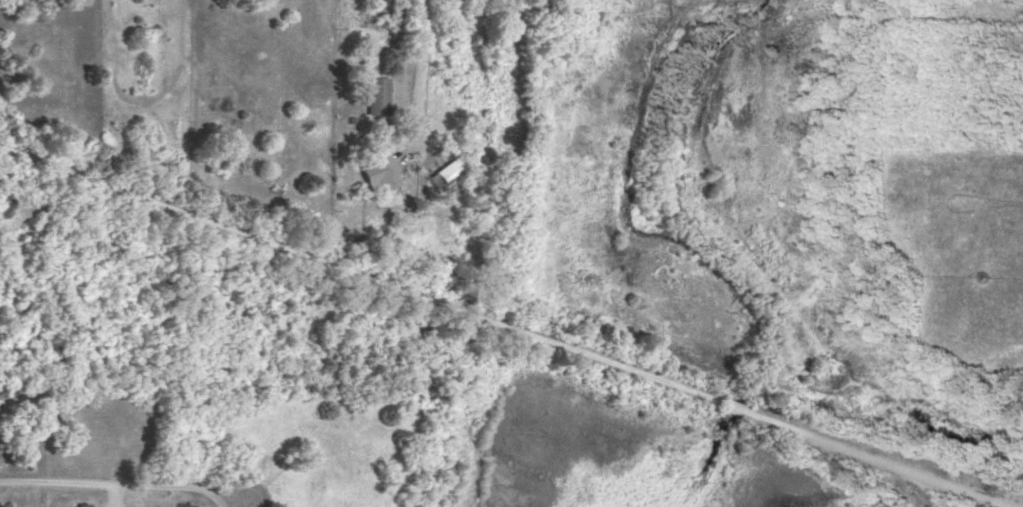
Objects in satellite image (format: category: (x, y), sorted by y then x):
building: (380, 94)
road: (417, 104)
building: (383, 171)
building: (449, 173)
road: (507, 327)
road: (111, 487)
building: (186, 504)
building: (80, 505)

